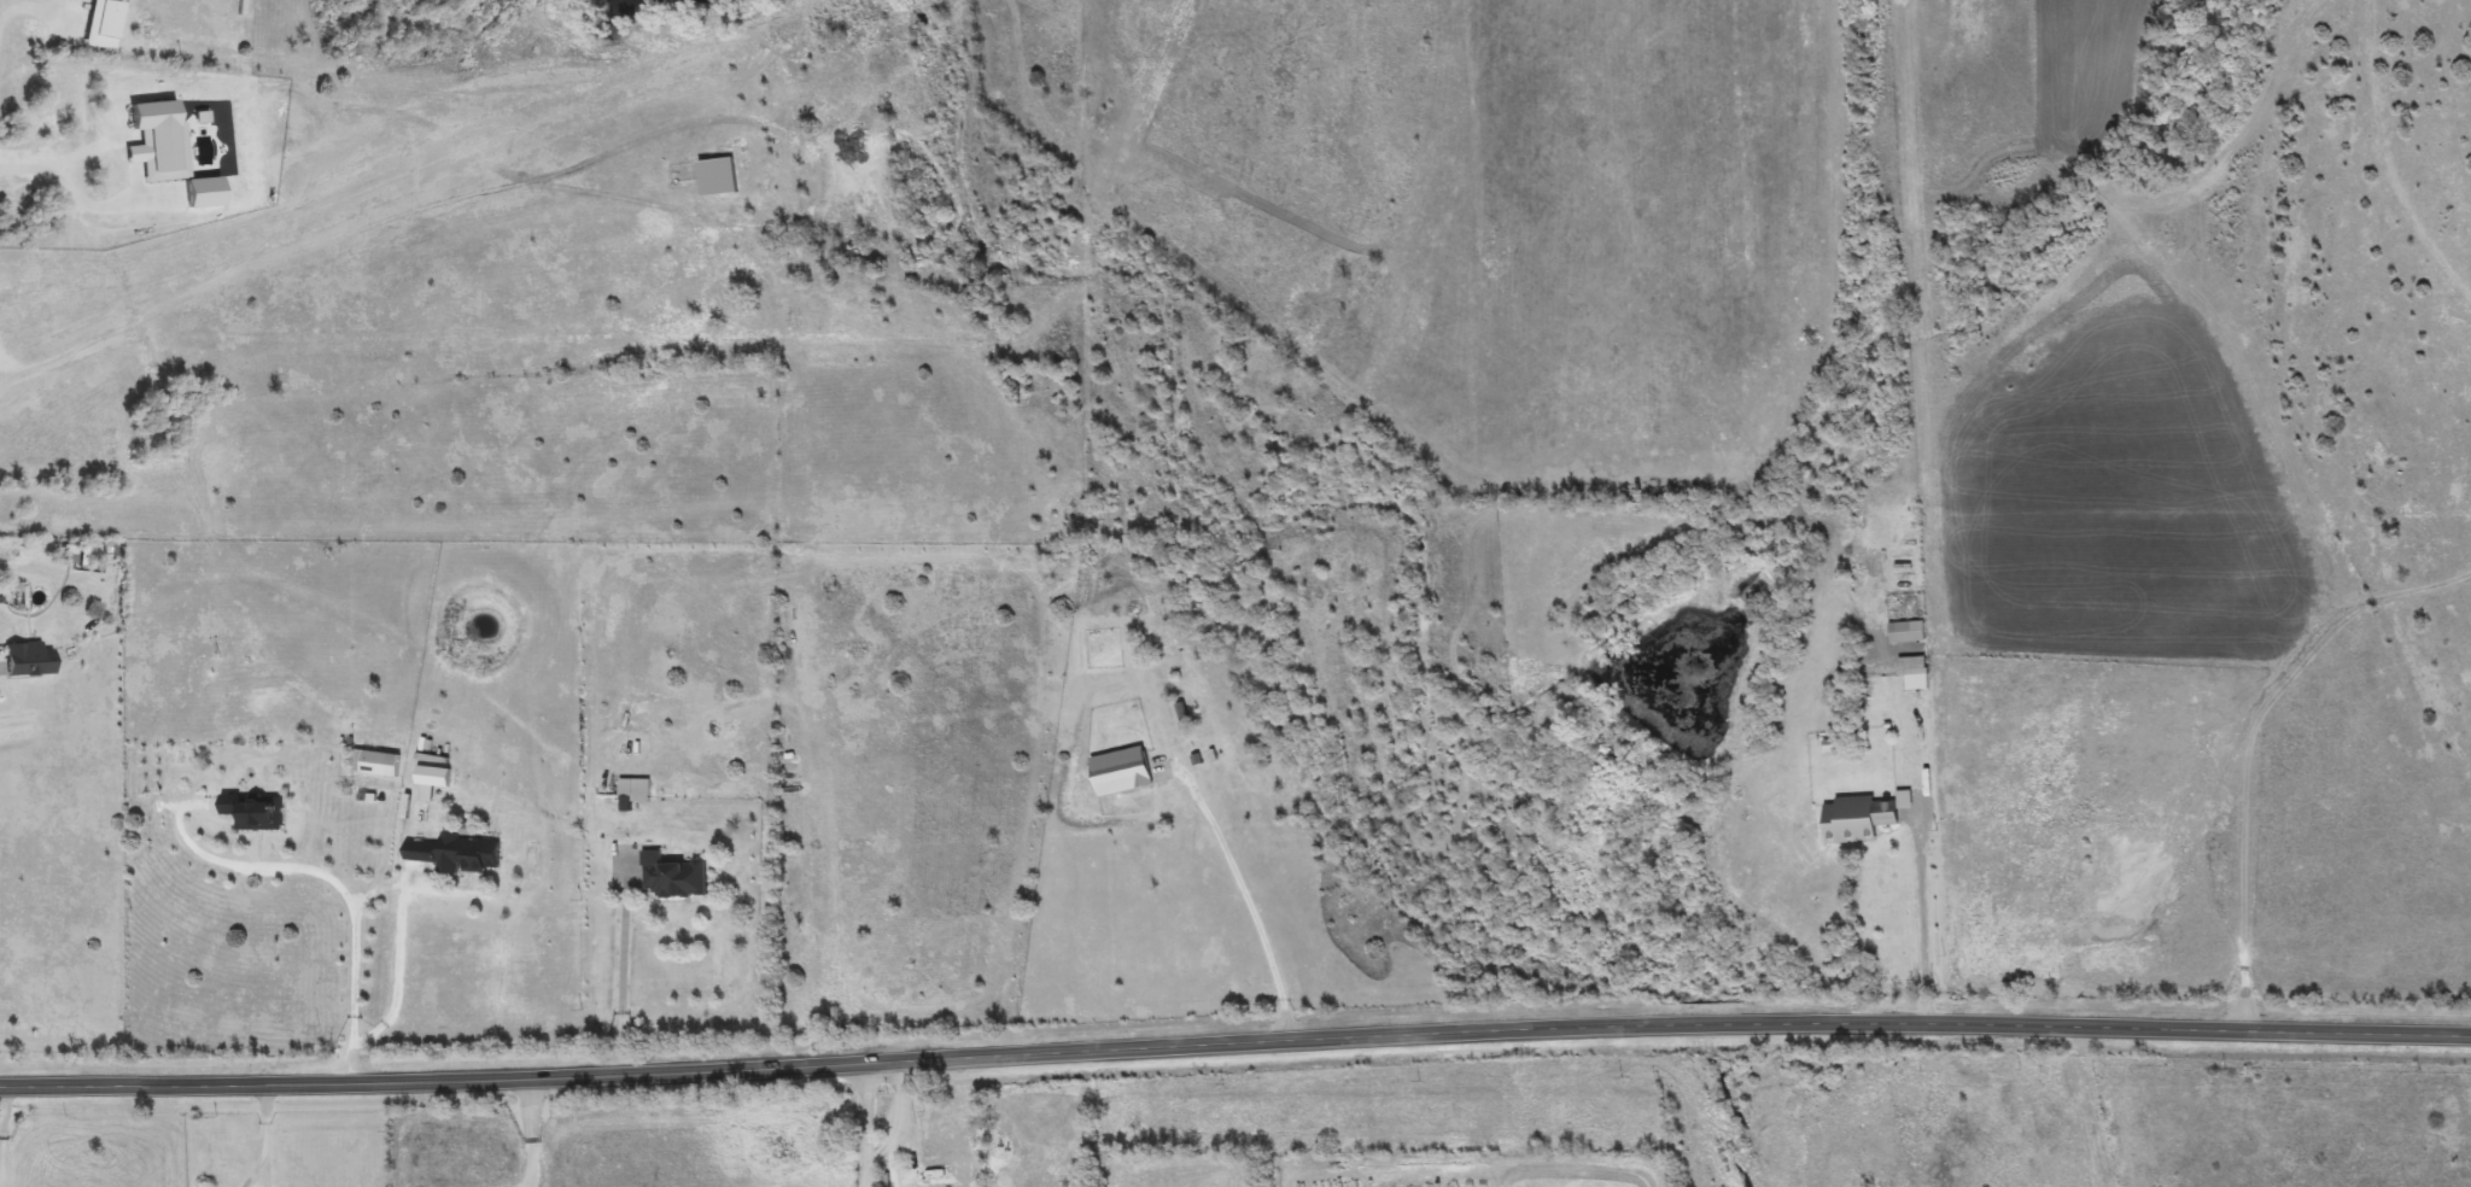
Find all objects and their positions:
road: (12, 1)
road: (65, 159)
road: (100, 205)
building: (1906, 631)
building: (27, 660)
building: (379, 764)
building: (1121, 771)
building: (253, 811)
building: (1858, 819)
building: (468, 854)
building: (672, 877)
road: (338, 887)
road: (1250, 900)
road: (1924, 919)
road: (627, 964)
road: (397, 972)
road: (1234, 1040)
road: (866, 1123)
road: (890, 1123)
road: (0, 1133)
road: (531, 1133)
road: (263, 1135)
building: (946, 1141)

